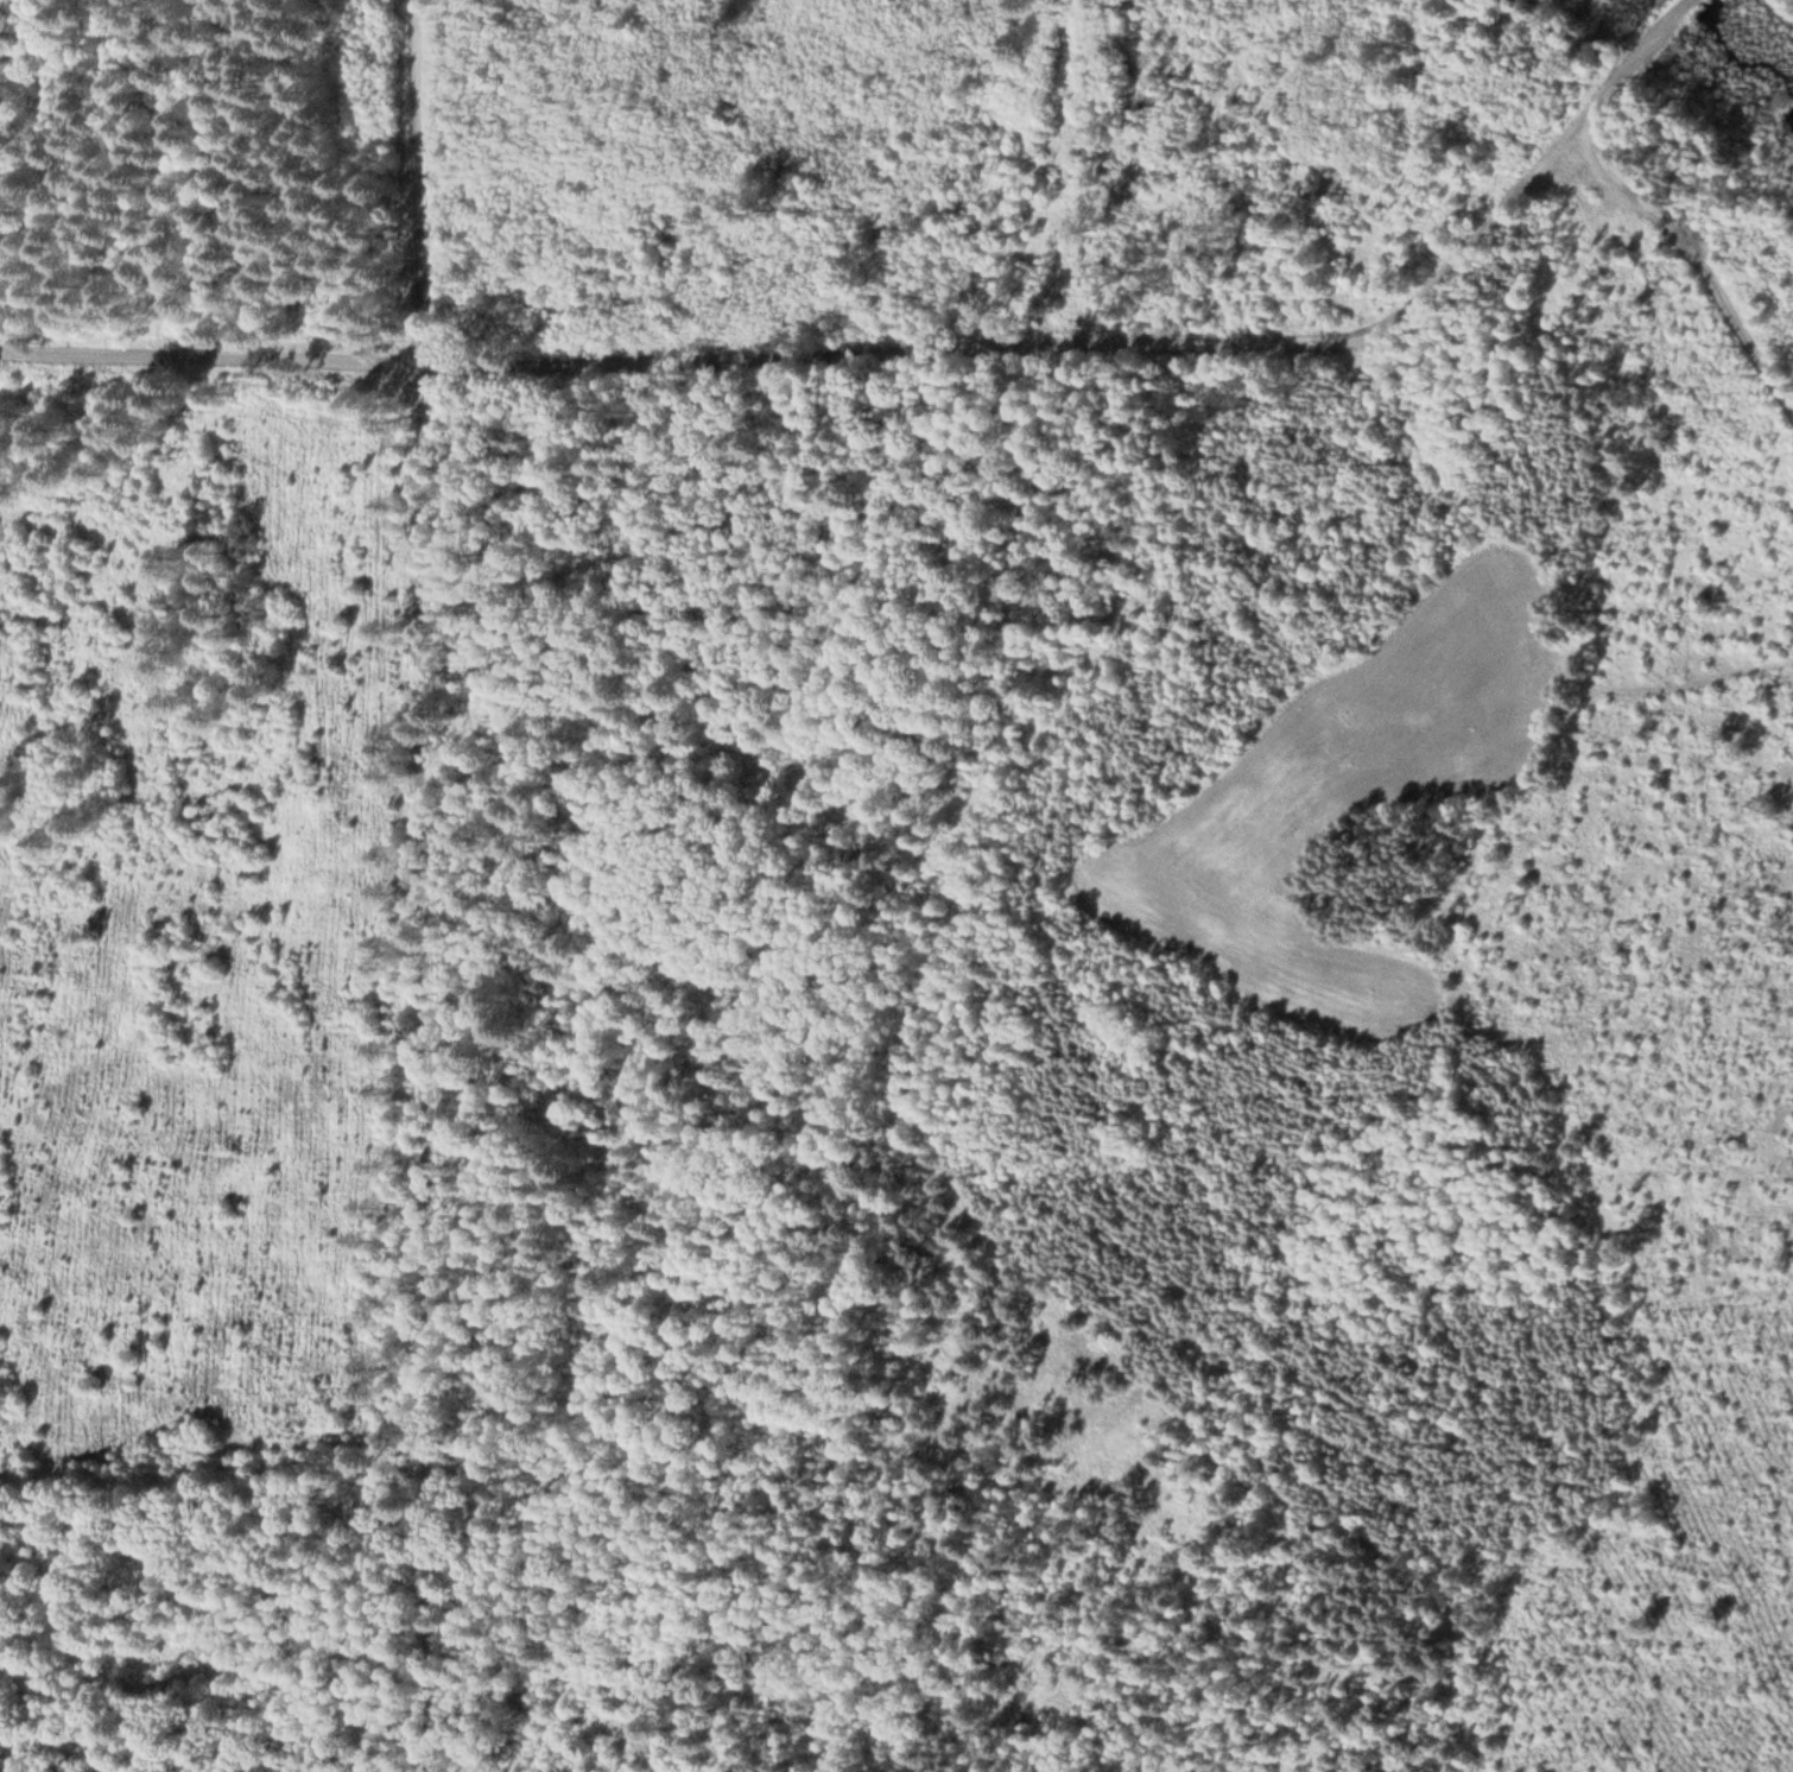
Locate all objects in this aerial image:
road: (1692, 245)
road: (1133, 344)
road: (214, 355)
road: (432, 886)
road: (227, 1622)

